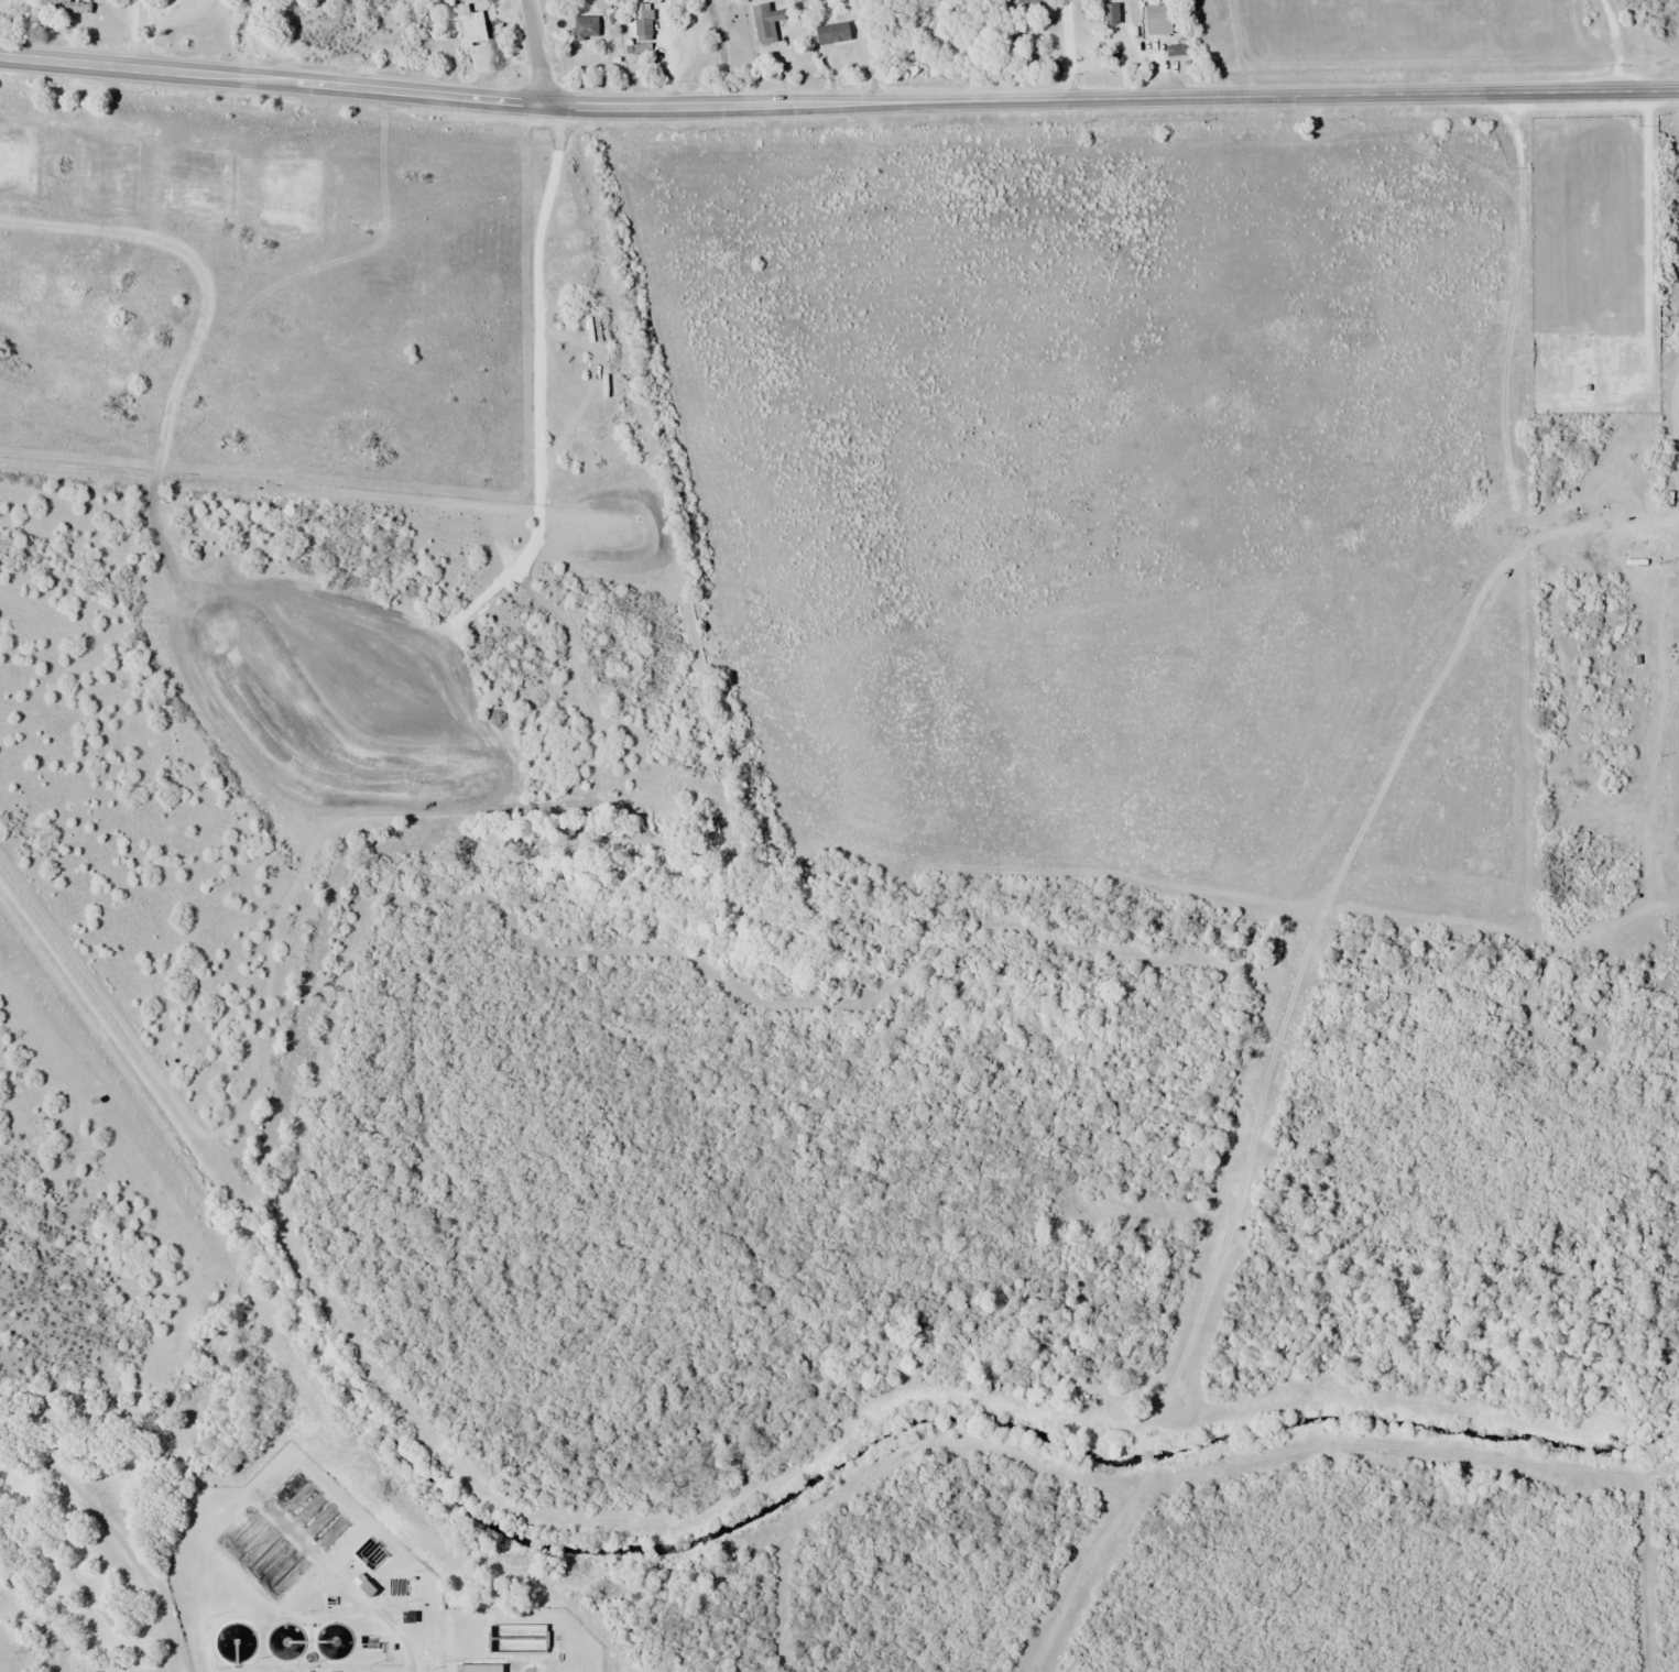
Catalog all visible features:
building: (601, 3)
building: (1108, 13)
building: (1156, 19)
airport: (1448, 22)
building: (470, 24)
building: (642, 24)
building: (585, 26)
building: (831, 32)
road: (1615, 44)
road: (536, 52)
road: (838, 102)
road: (1648, 491)
wastewater plant: (334, 1589)
building: (480, 1668)

